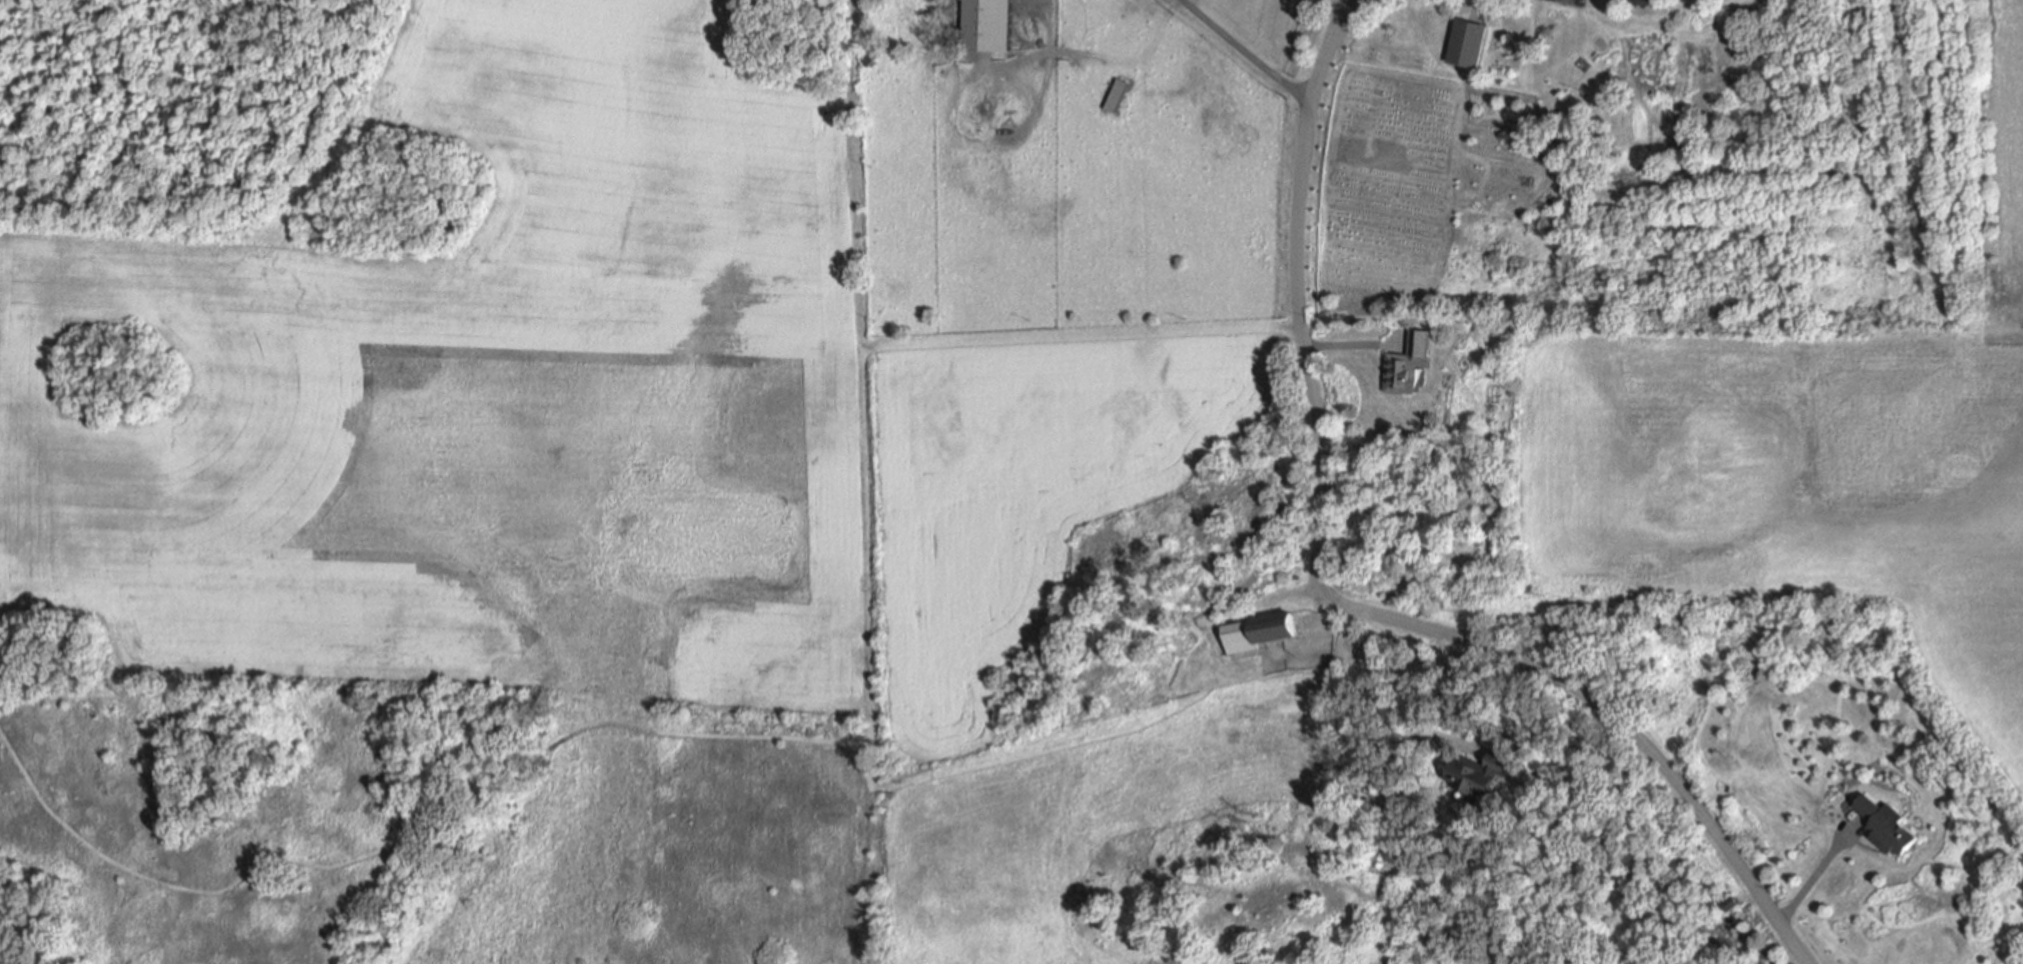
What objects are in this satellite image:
building: (1645, 2)
building: (987, 24)
building: (1468, 44)
building: (1572, 49)
road: (1326, 51)
road: (1247, 52)
building: (870, 60)
building: (1117, 95)
building: (1409, 362)
building: (1234, 600)
road: (1390, 619)
building: (1258, 632)
road: (1416, 690)
building: (1477, 772)
building: (1886, 824)
road: (1814, 873)
building: (1730, 904)

